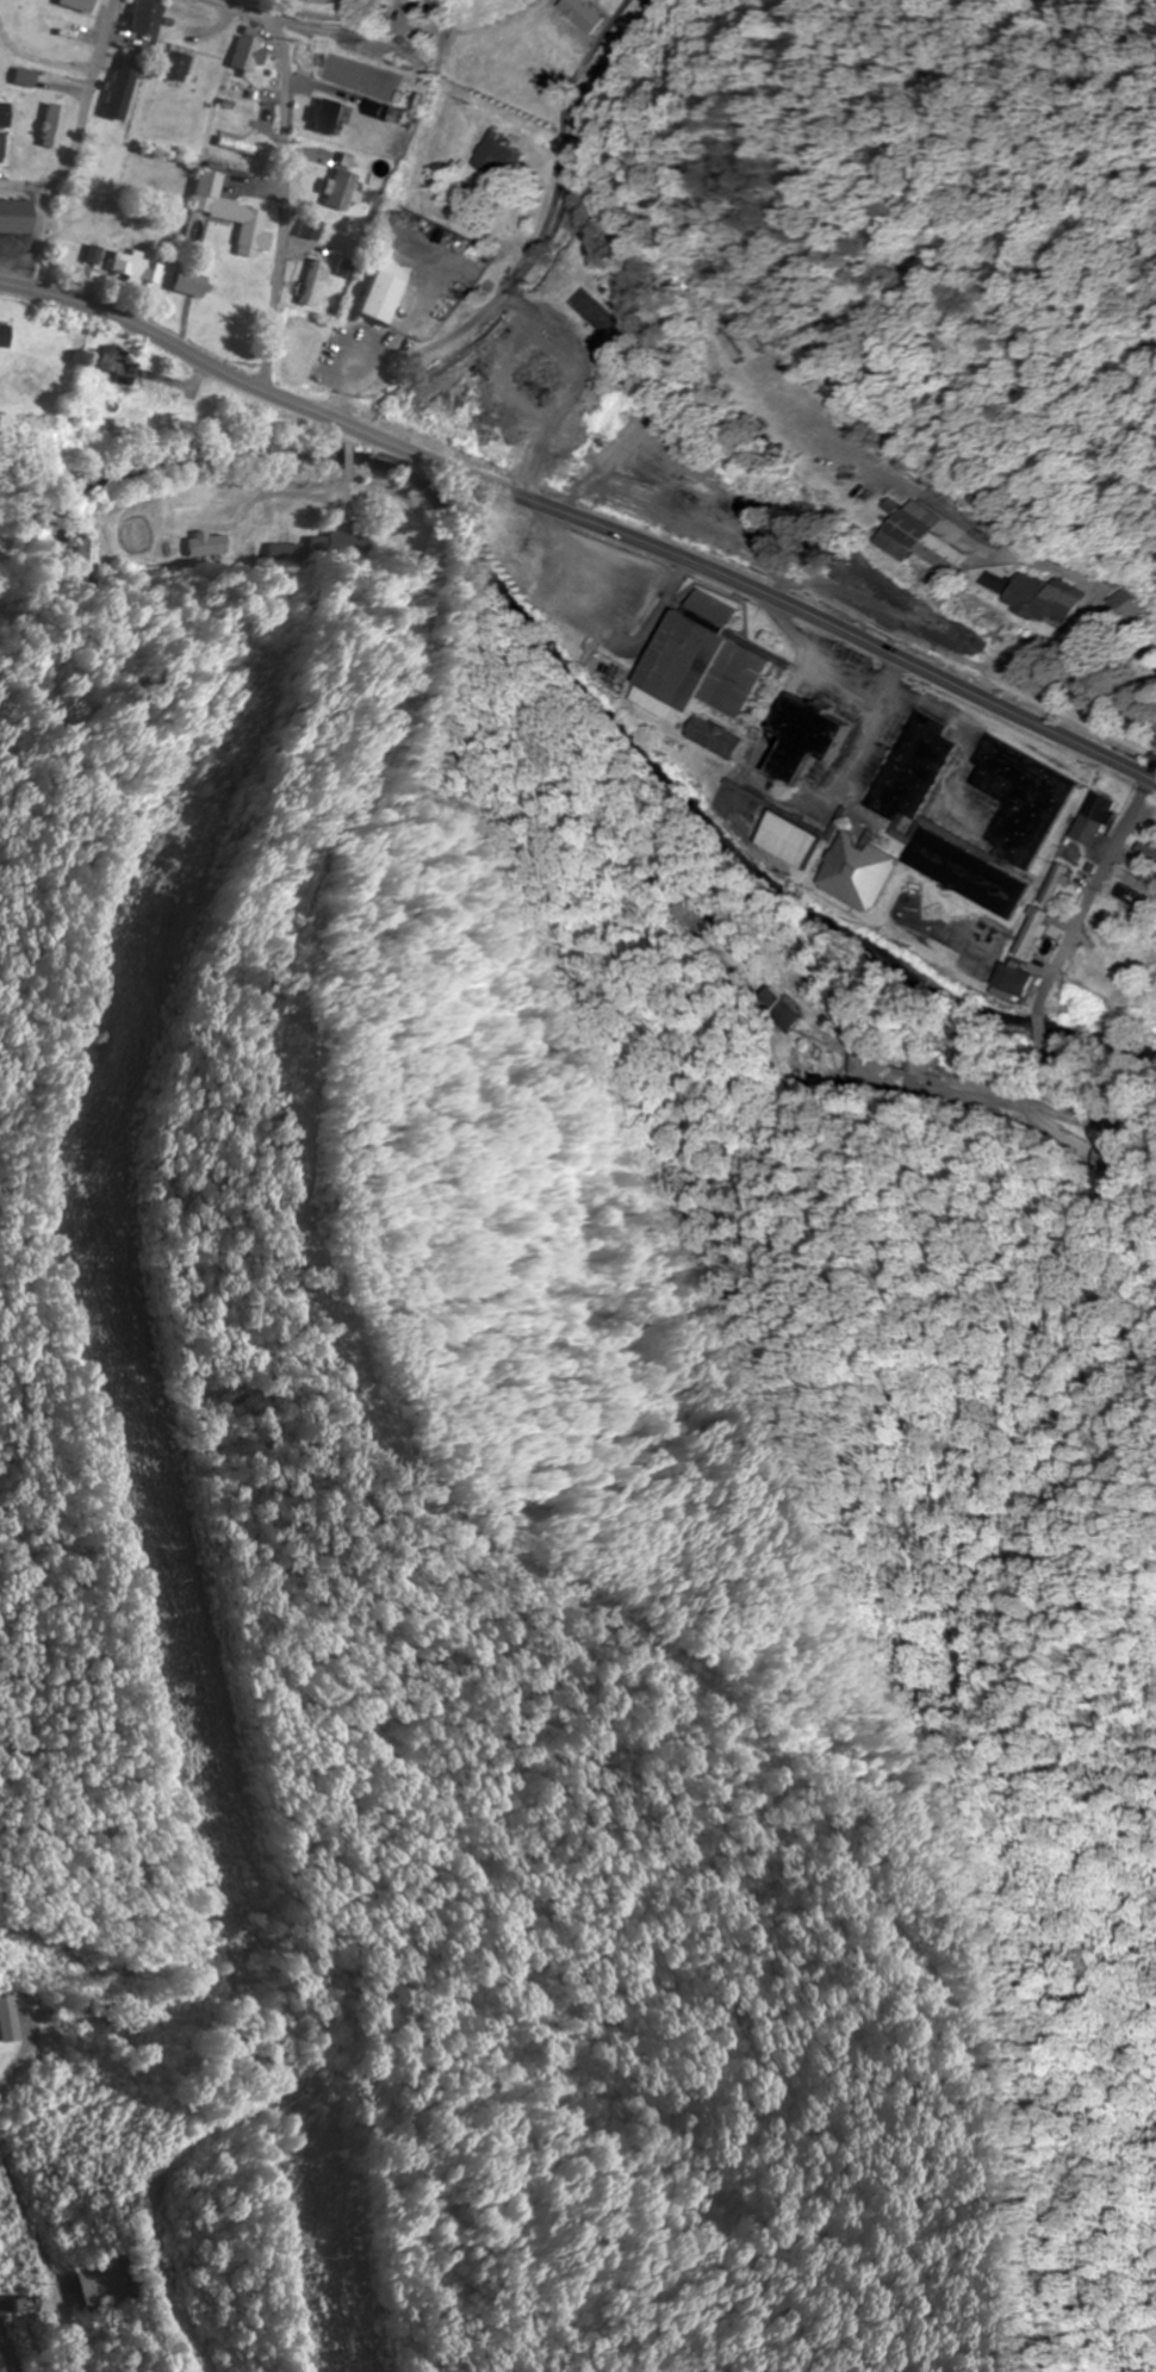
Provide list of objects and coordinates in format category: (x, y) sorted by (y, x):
building: (419, 0)
building: (321, 1)
park: (263, 4)
building: (82, 5)
building: (149, 18)
building: (583, 18)
road: (349, 27)
building: (250, 54)
building: (179, 67)
building: (30, 79)
building: (122, 95)
road: (564, 110)
building: (386, 112)
building: (5, 116)
building: (330, 117)
road: (86, 124)
building: (56, 127)
building: (2, 148)
building: (495, 152)
road: (288, 164)
building: (355, 195)
building: (234, 214)
building: (17, 217)
building: (312, 230)
building: (94, 257)
building: (137, 268)
building: (192, 285)
building: (383, 299)
building: (5, 336)
road: (446, 340)
building: (122, 368)
building: (897, 508)
road: (931, 517)
road: (582, 521)
building: (931, 537)
building: (537, 548)
building: (82, 554)
road: (1024, 559)
building: (1048, 600)
building: (706, 664)
building: (720, 739)
building: (816, 739)
building: (915, 768)
building: (1096, 818)
building: (1000, 830)
building: (791, 840)
building: (860, 866)
building: (1056, 884)
building: (1137, 890)
road: (1087, 895)
building: (1032, 933)
building: (1019, 983)
building: (10, 2021)
building: (92, 2285)
building: (0, 2309)

